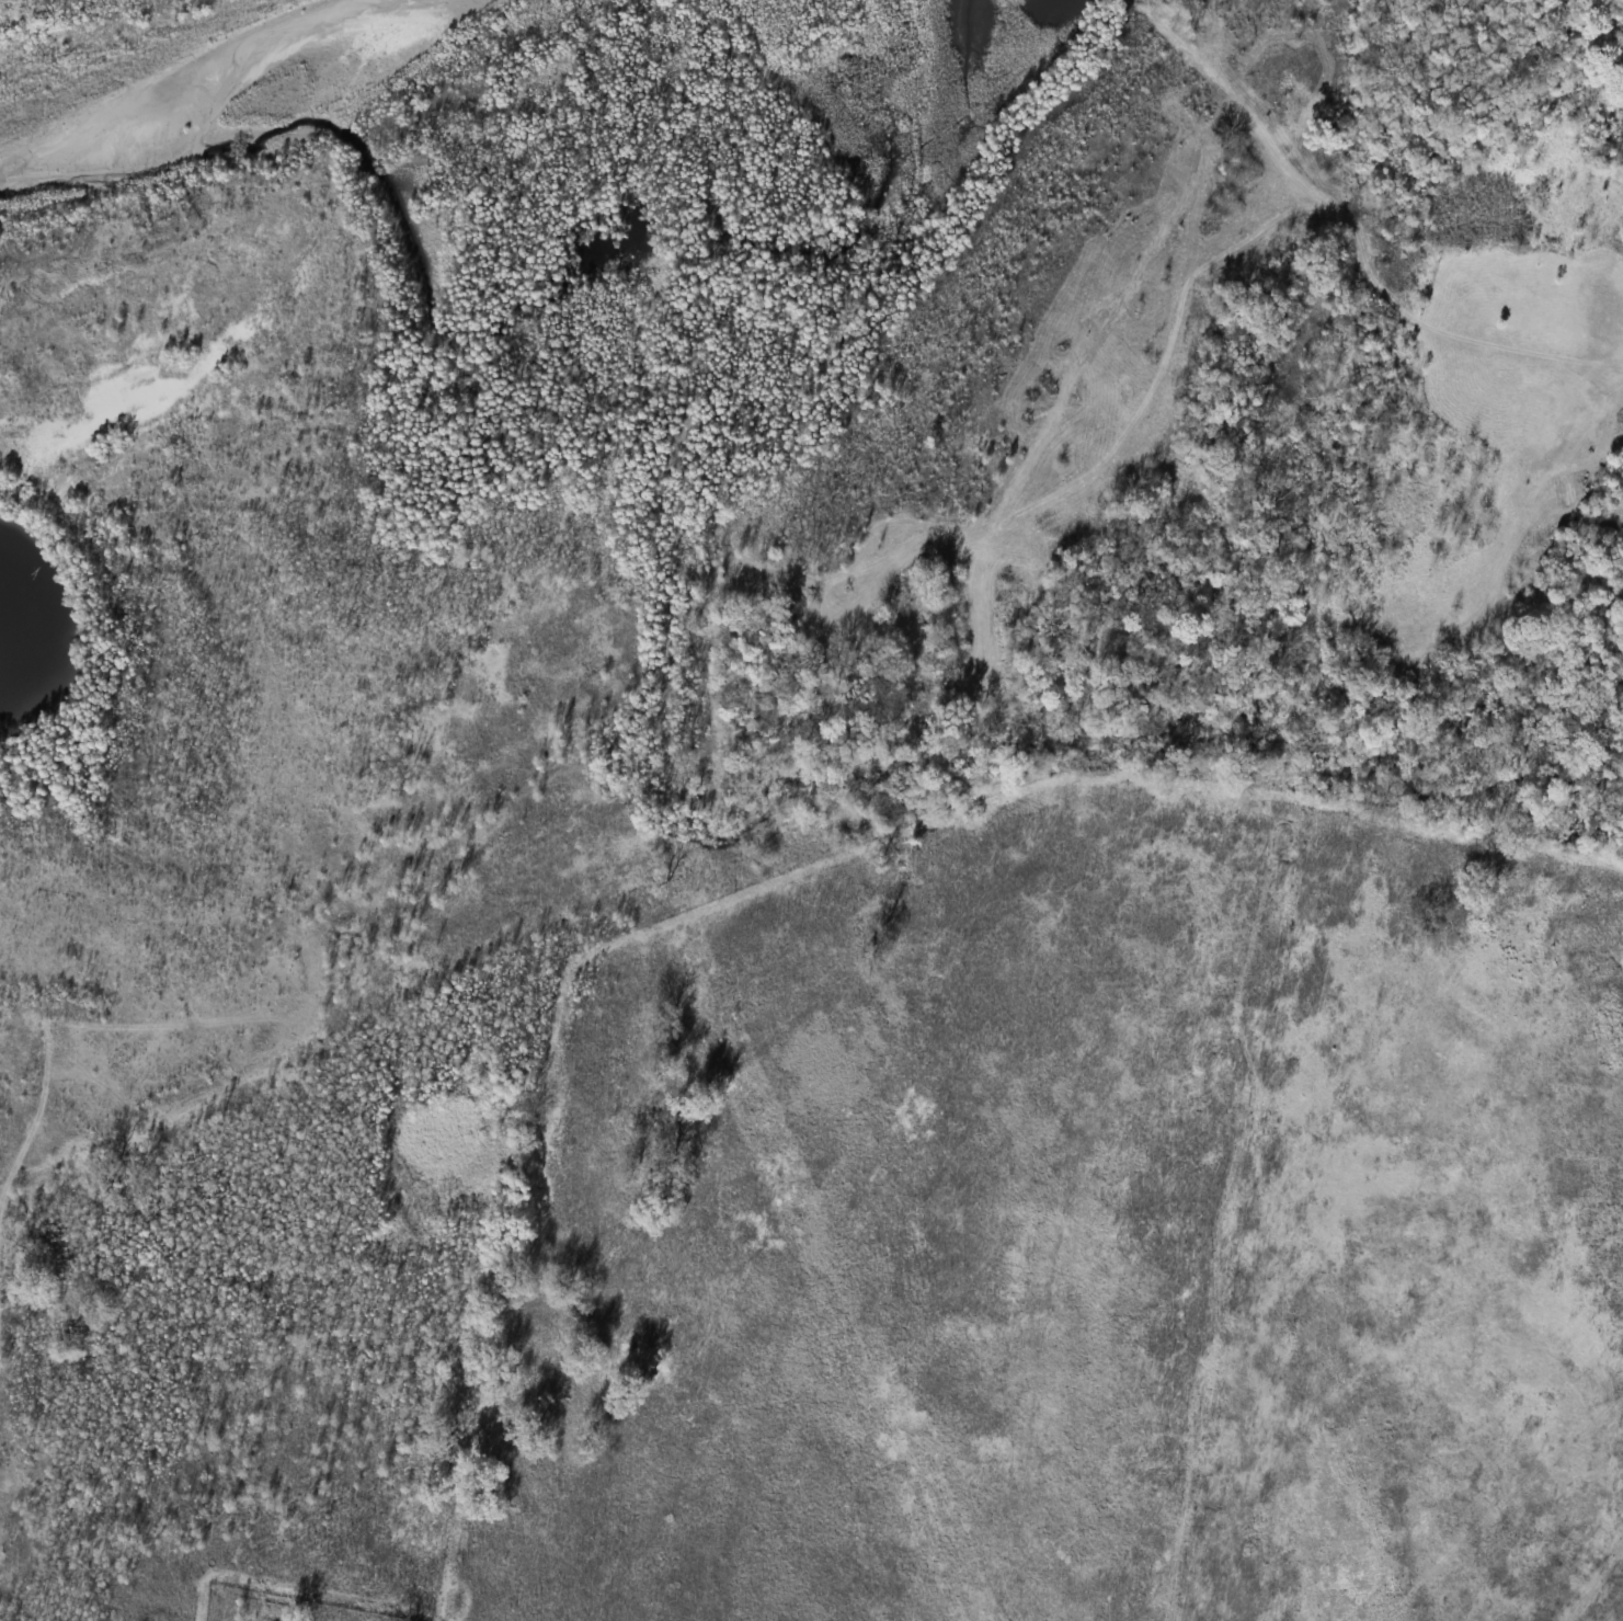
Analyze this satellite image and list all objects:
road: (1599, 1584)

